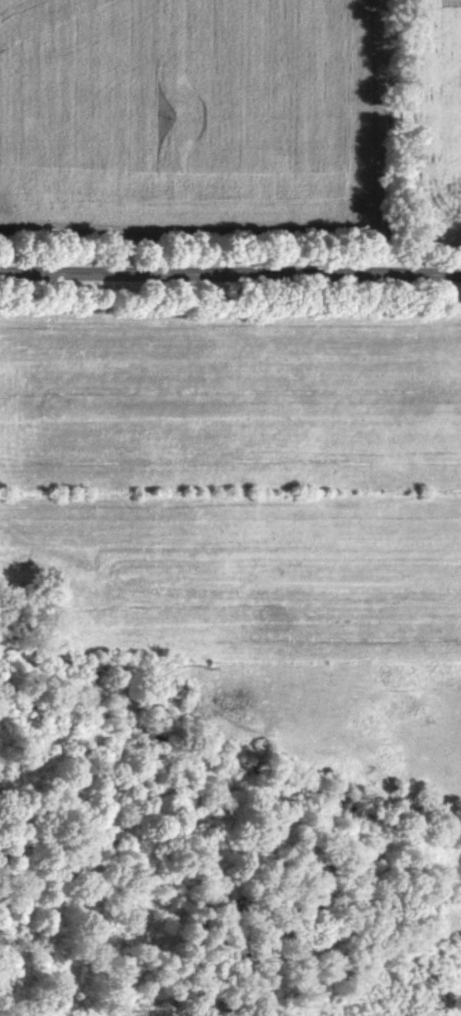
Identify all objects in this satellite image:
road: (230, 269)

